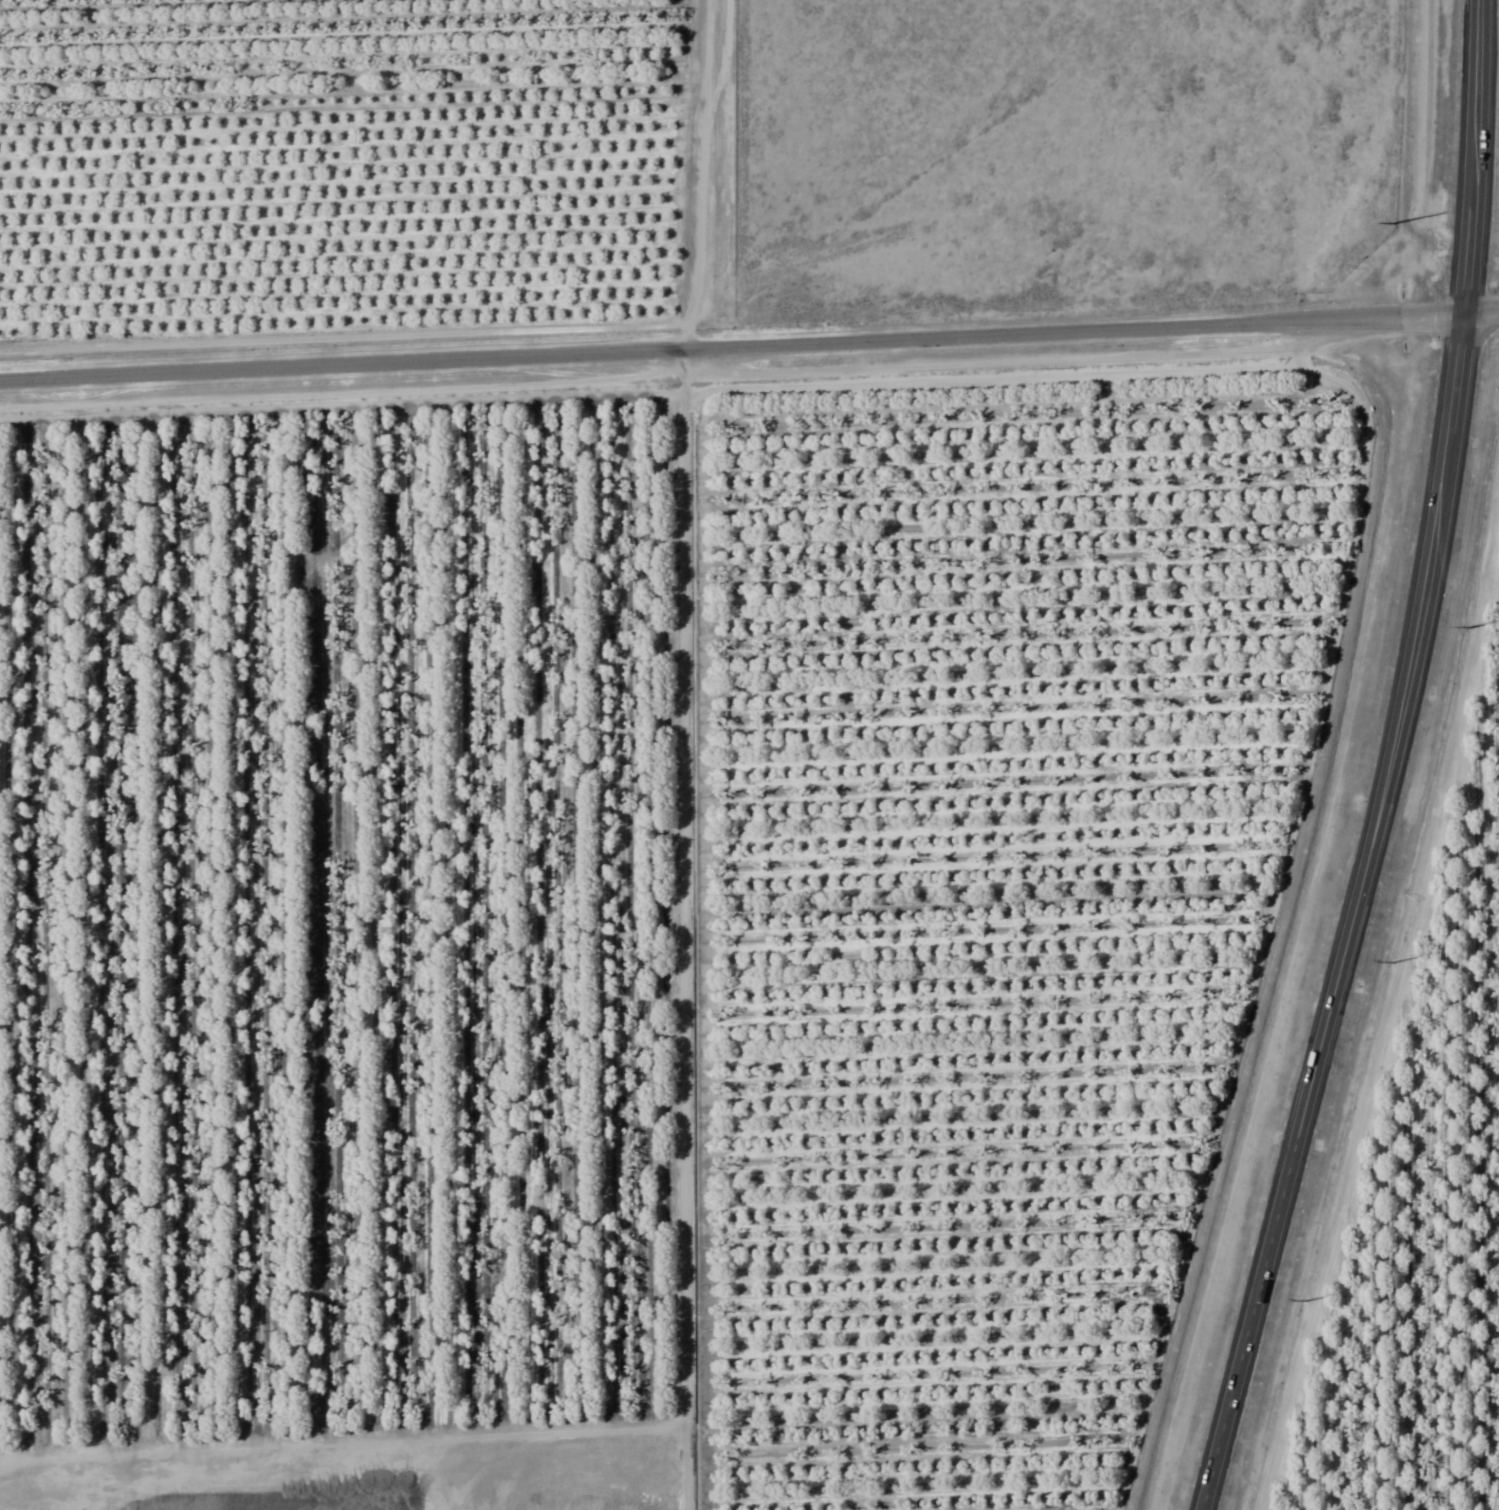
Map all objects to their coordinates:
road: (1474, 156)
road: (698, 175)
road: (1480, 312)
road: (731, 347)
road: (1352, 915)

